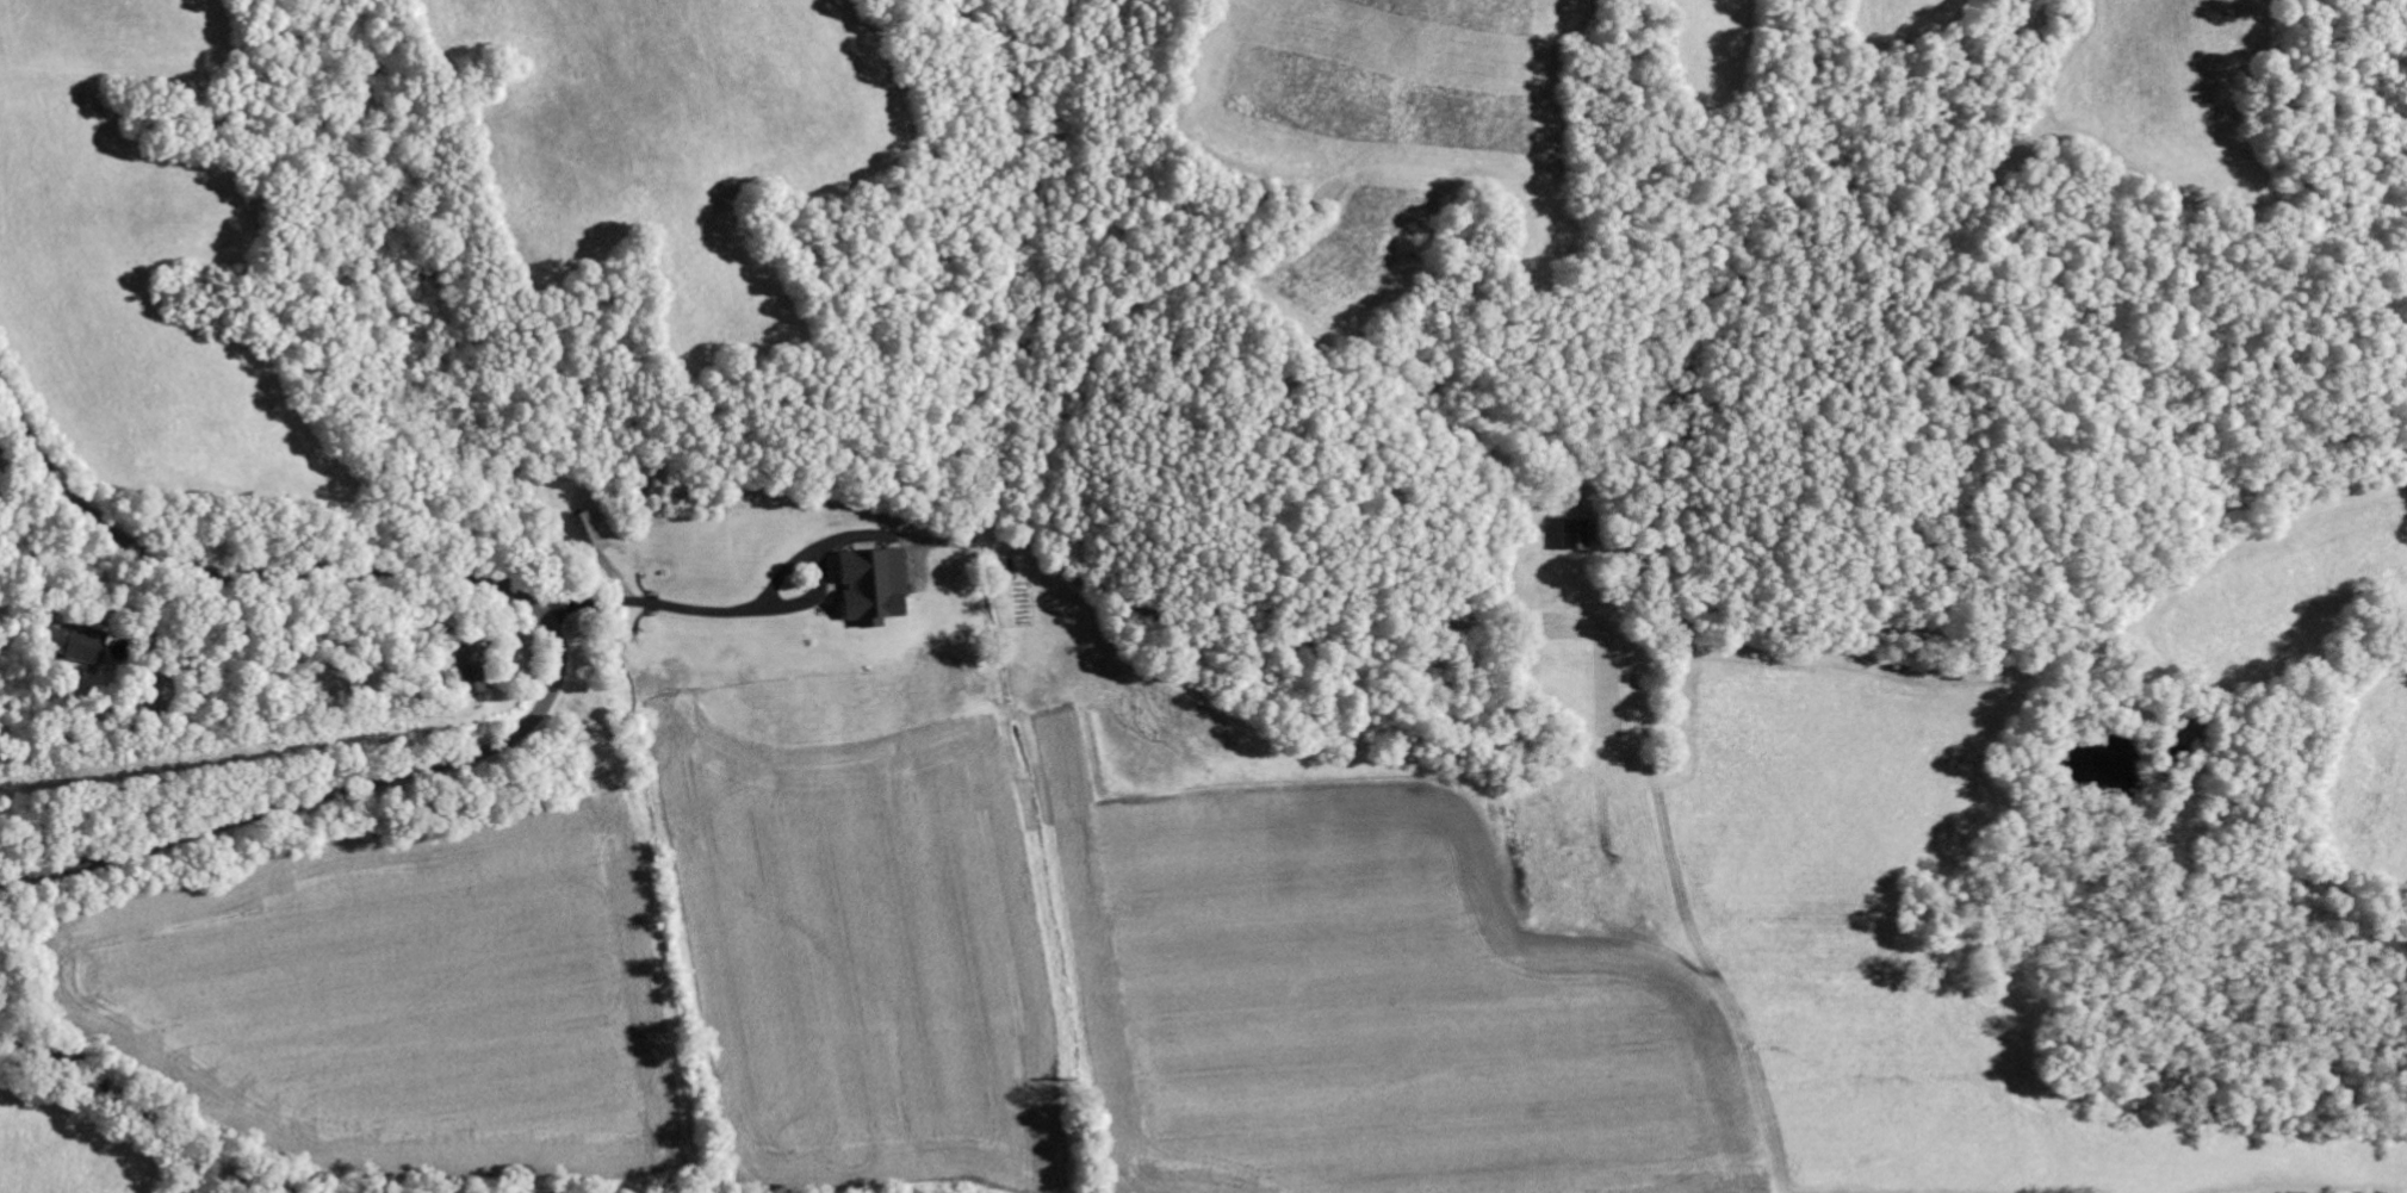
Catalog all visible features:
building: (1572, 535)
road: (1032, 568)
building: (868, 585)
road: (554, 633)
building: (72, 642)
road: (442, 922)

